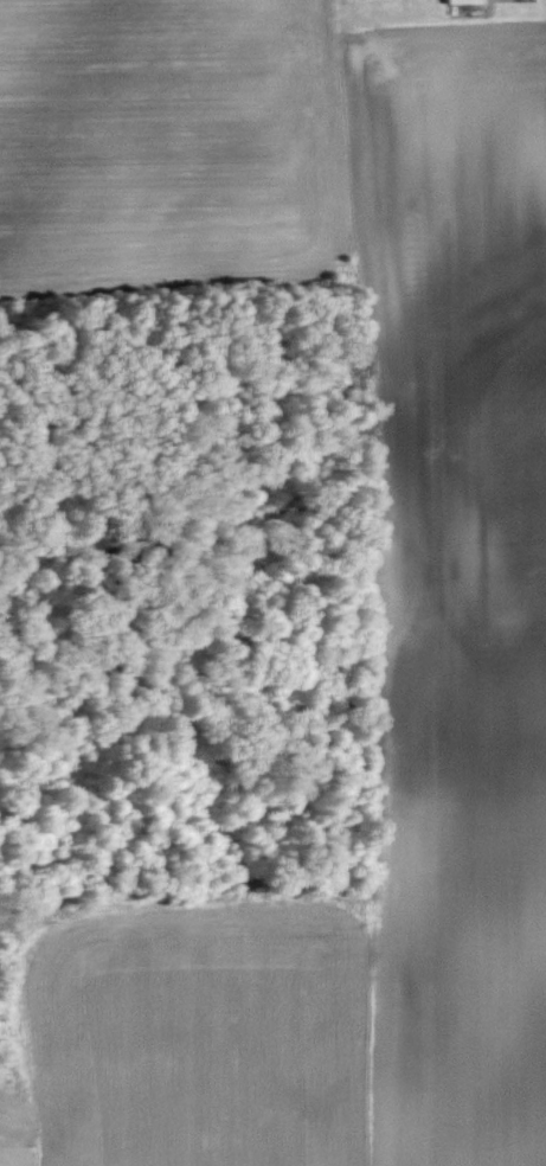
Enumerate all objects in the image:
building: (469, 1)

